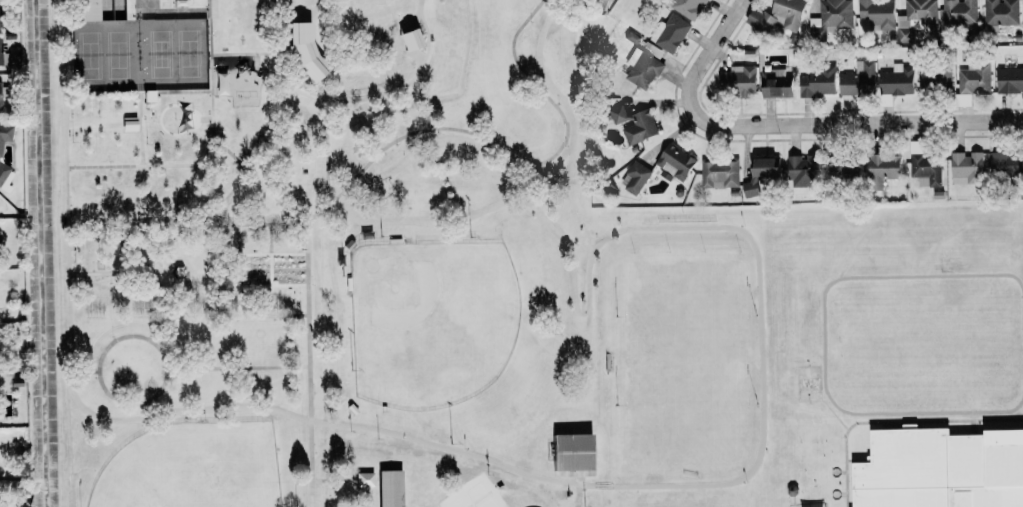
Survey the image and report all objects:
building: (688, 7)
building: (90, 10)
building: (959, 11)
building: (1001, 12)
building: (876, 13)
building: (777, 16)
building: (915, 16)
building: (830, 18)
building: (670, 32)
building: (409, 39)
road: (414, 42)
building: (653, 49)
building: (305, 51)
park: (177, 53)
park: (107, 54)
road: (248, 54)
building: (642, 68)
building: (935, 76)
road: (699, 77)
building: (975, 78)
building: (738, 79)
building: (1010, 79)
building: (817, 80)
building: (858, 80)
building: (897, 80)
building: (221, 83)
building: (777, 84)
road: (422, 96)
road: (284, 102)
water park: (178, 108)
road: (428, 117)
road: (326, 123)
building: (634, 123)
park: (110, 126)
road: (879, 128)
road: (212, 140)
road: (226, 150)
building: (0, 152)
road: (515, 158)
building: (674, 162)
building: (1006, 163)
building: (765, 166)
building: (844, 167)
building: (966, 167)
road: (245, 168)
road: (531, 168)
building: (926, 168)
building: (883, 169)
building: (802, 172)
building: (719, 173)
building: (635, 176)
building: (750, 188)
road: (269, 190)
road: (242, 223)
road: (272, 268)
road: (241, 269)
road: (243, 269)
park: (376, 269)
road: (760, 287)
road: (241, 299)
road: (274, 314)
road: (70, 321)
park: (432, 321)
road: (308, 356)
road: (164, 357)
road: (238, 367)
road: (86, 371)
building: (572, 452)
building: (941, 469)
park: (203, 479)
road: (333, 479)
building: (364, 479)
building: (390, 488)
park: (685, 501)
building: (2, 505)

